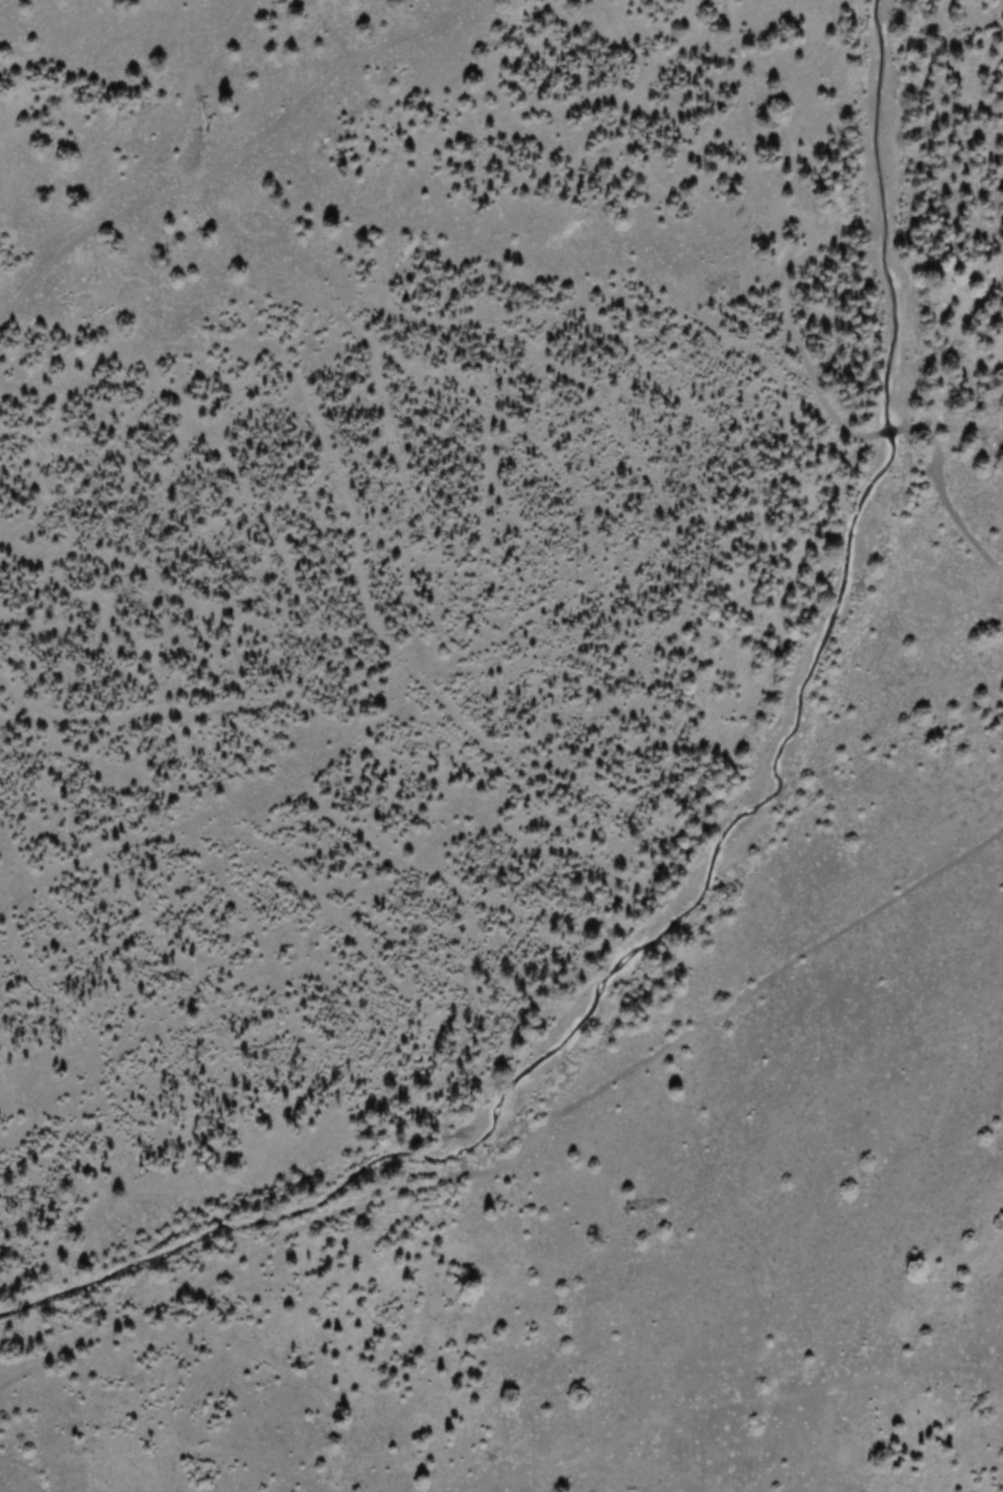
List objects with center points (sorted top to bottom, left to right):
road: (500, 1150)

